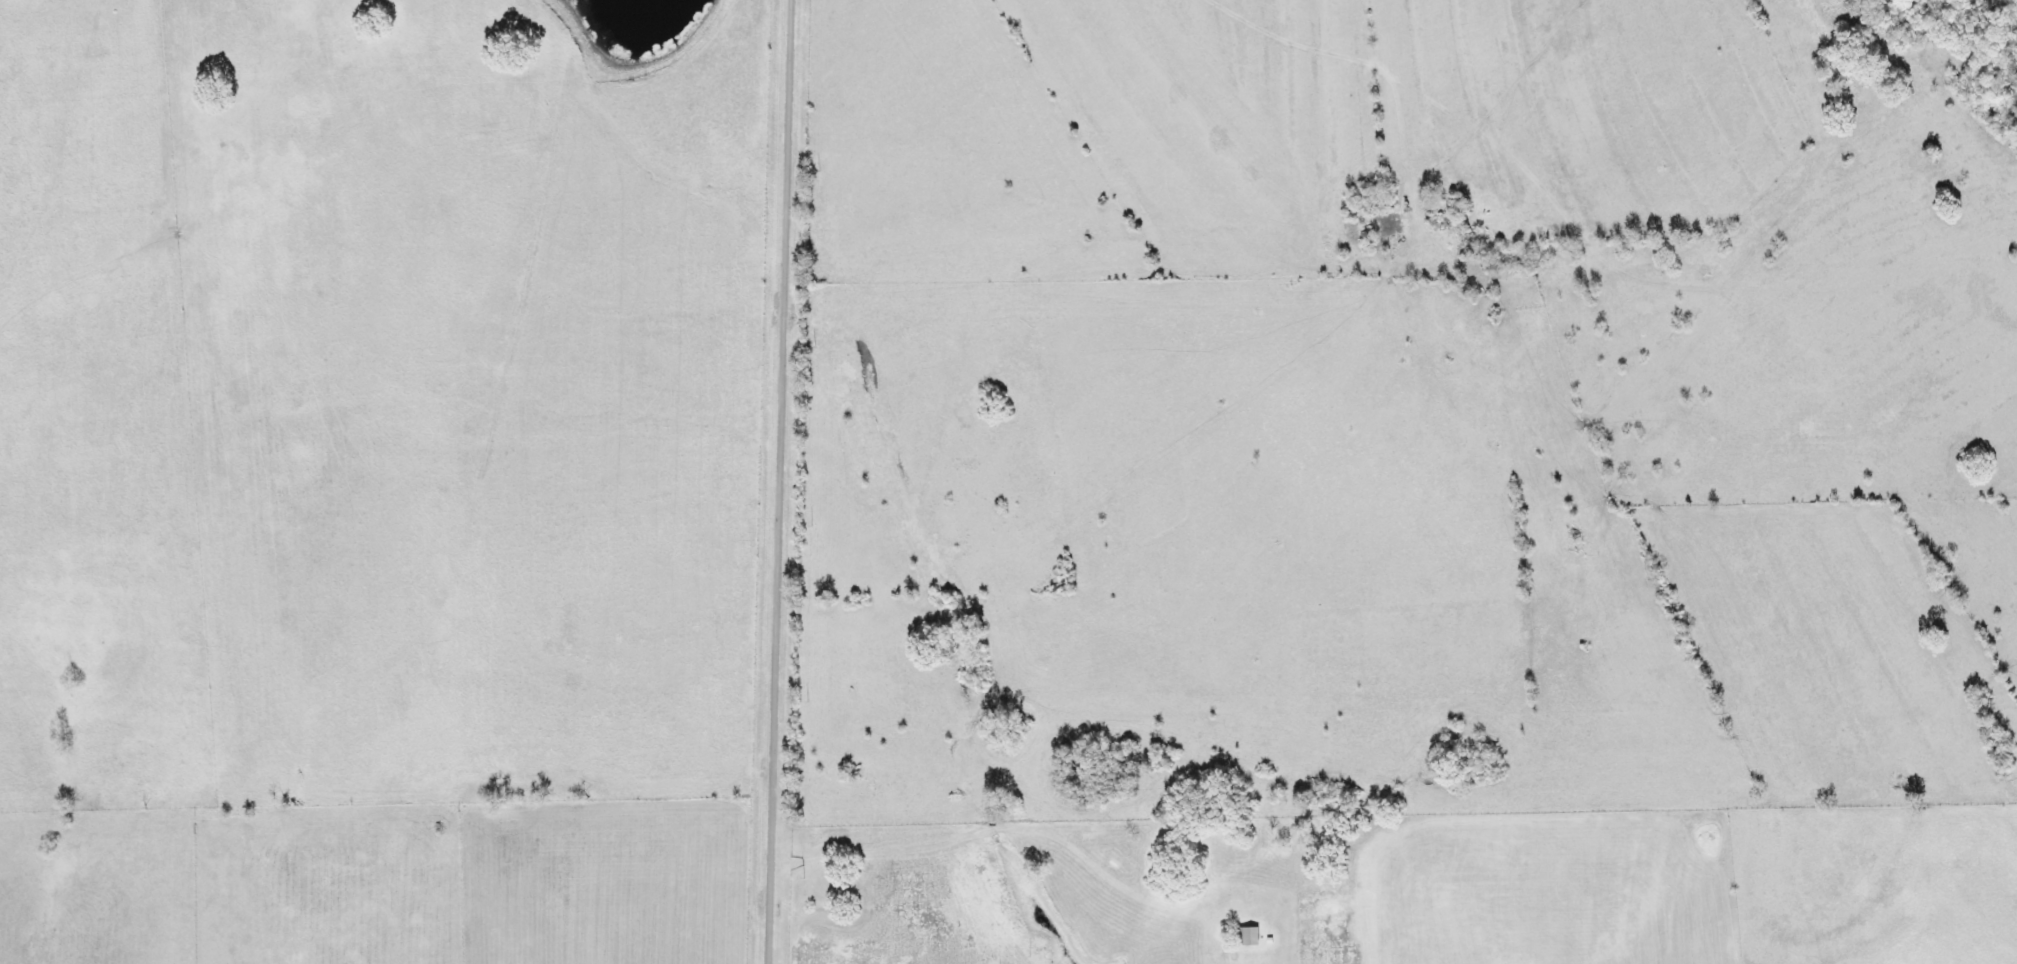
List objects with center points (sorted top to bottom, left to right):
road: (778, 481)
building: (1250, 937)

